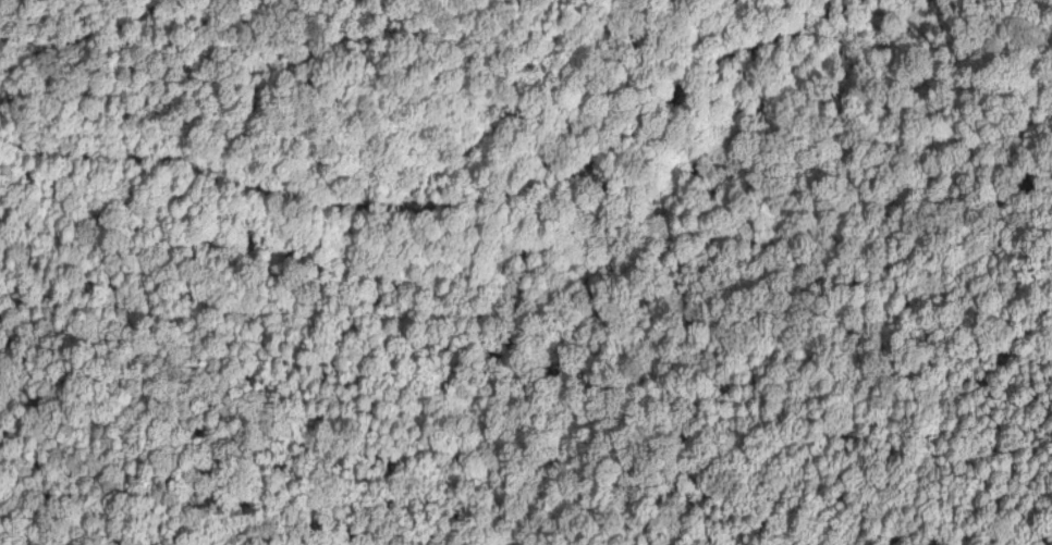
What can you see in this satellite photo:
road: (451, 198)

